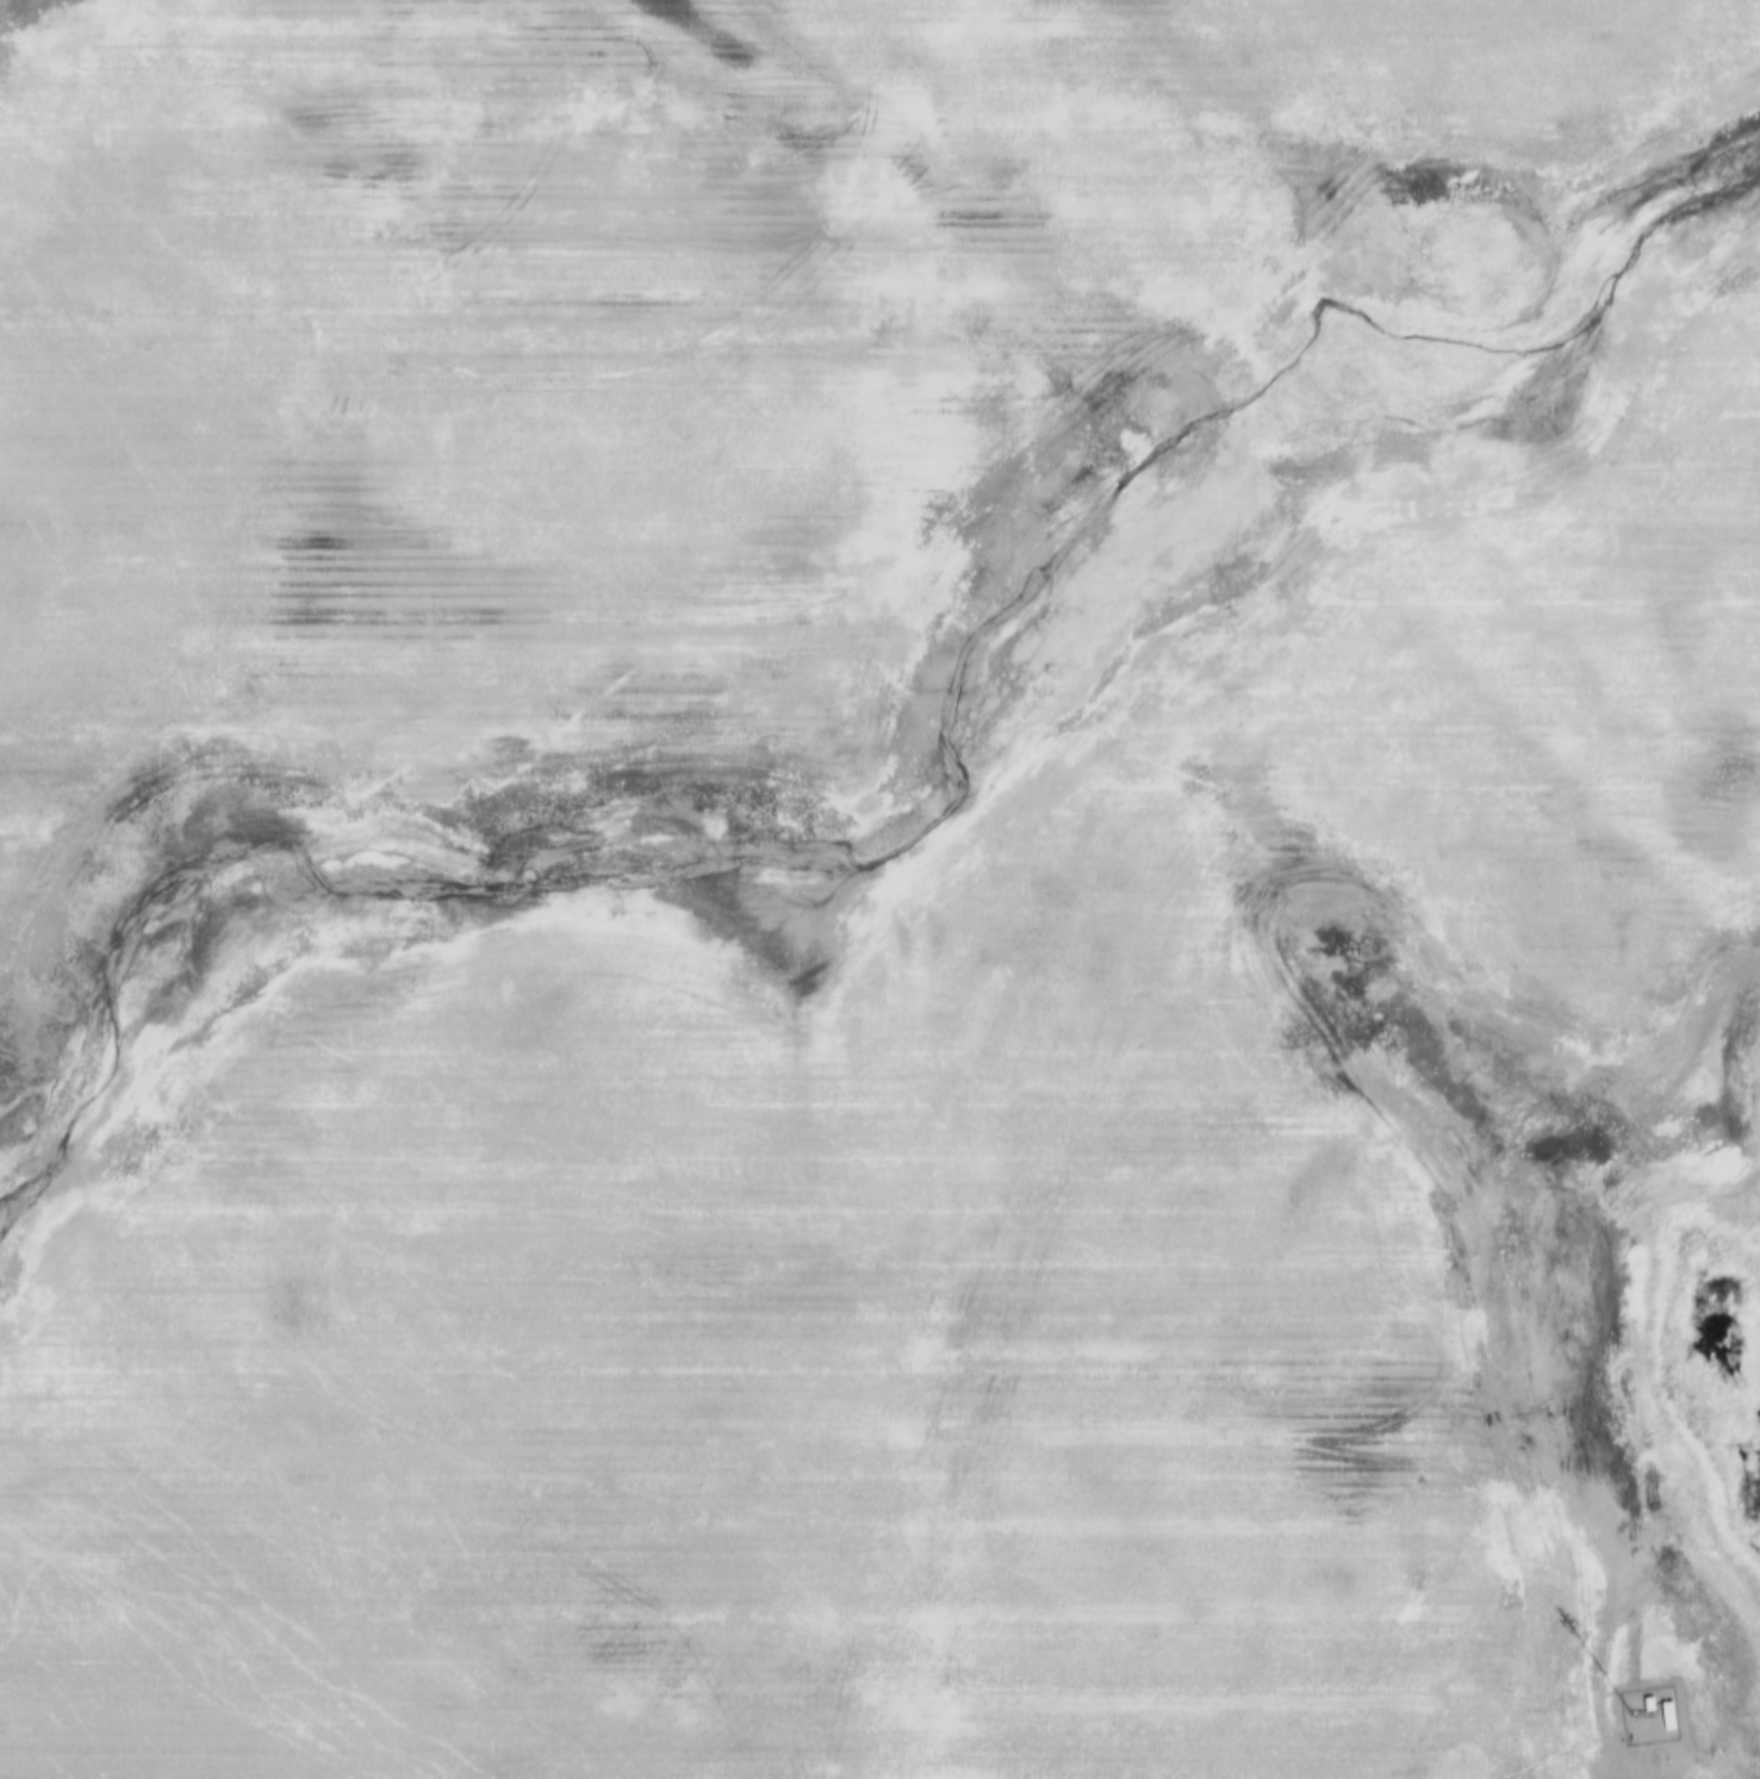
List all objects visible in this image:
building: (1655, 1706)
building: (1672, 1717)
road: (1647, 1772)

